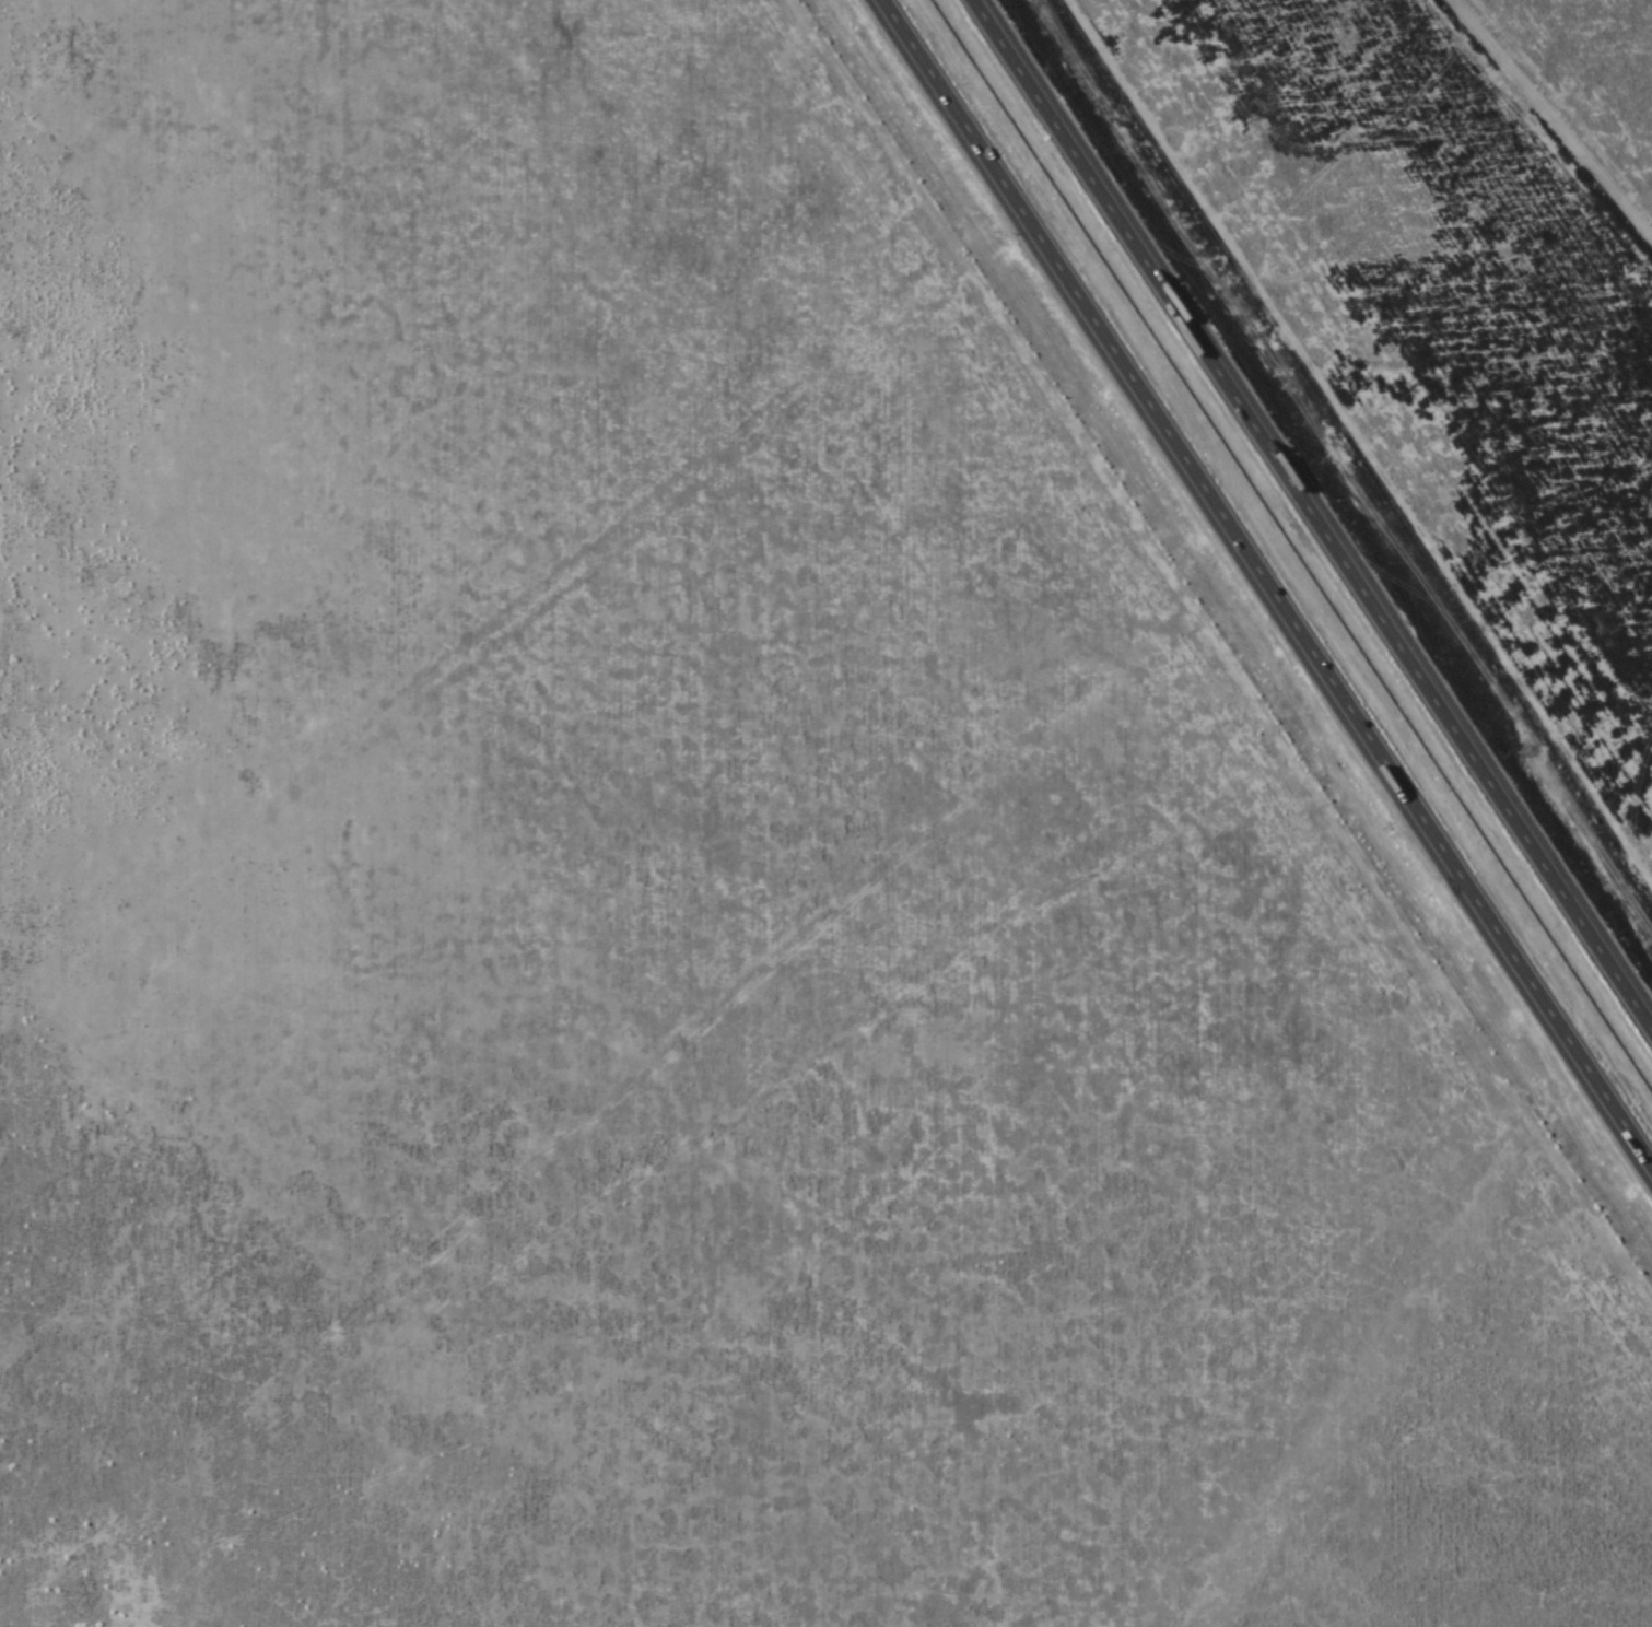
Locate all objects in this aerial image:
road: (1539, 133)
road: (1315, 515)
road: (1270, 582)

